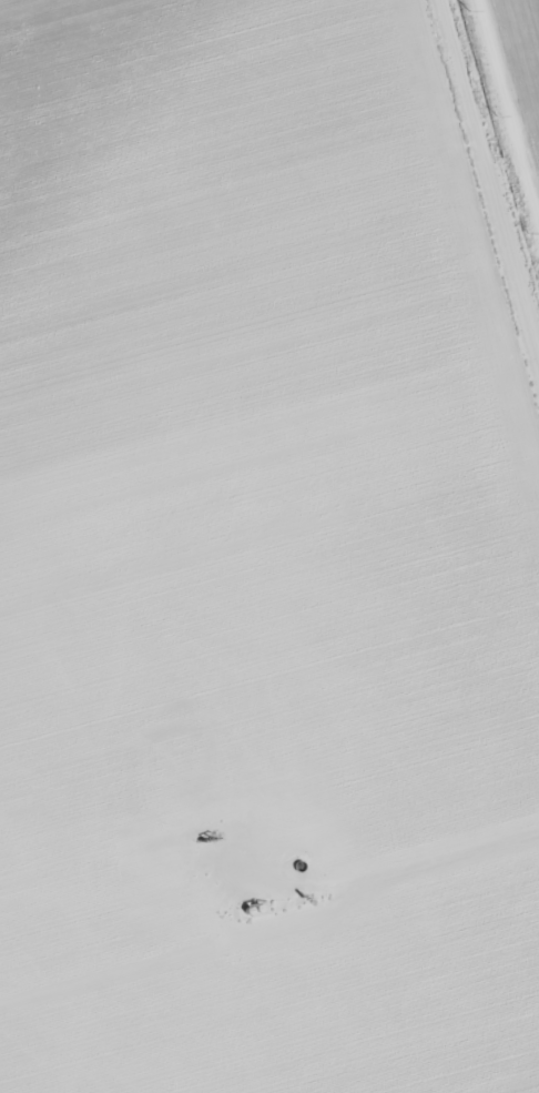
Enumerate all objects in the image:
road: (468, 224)

